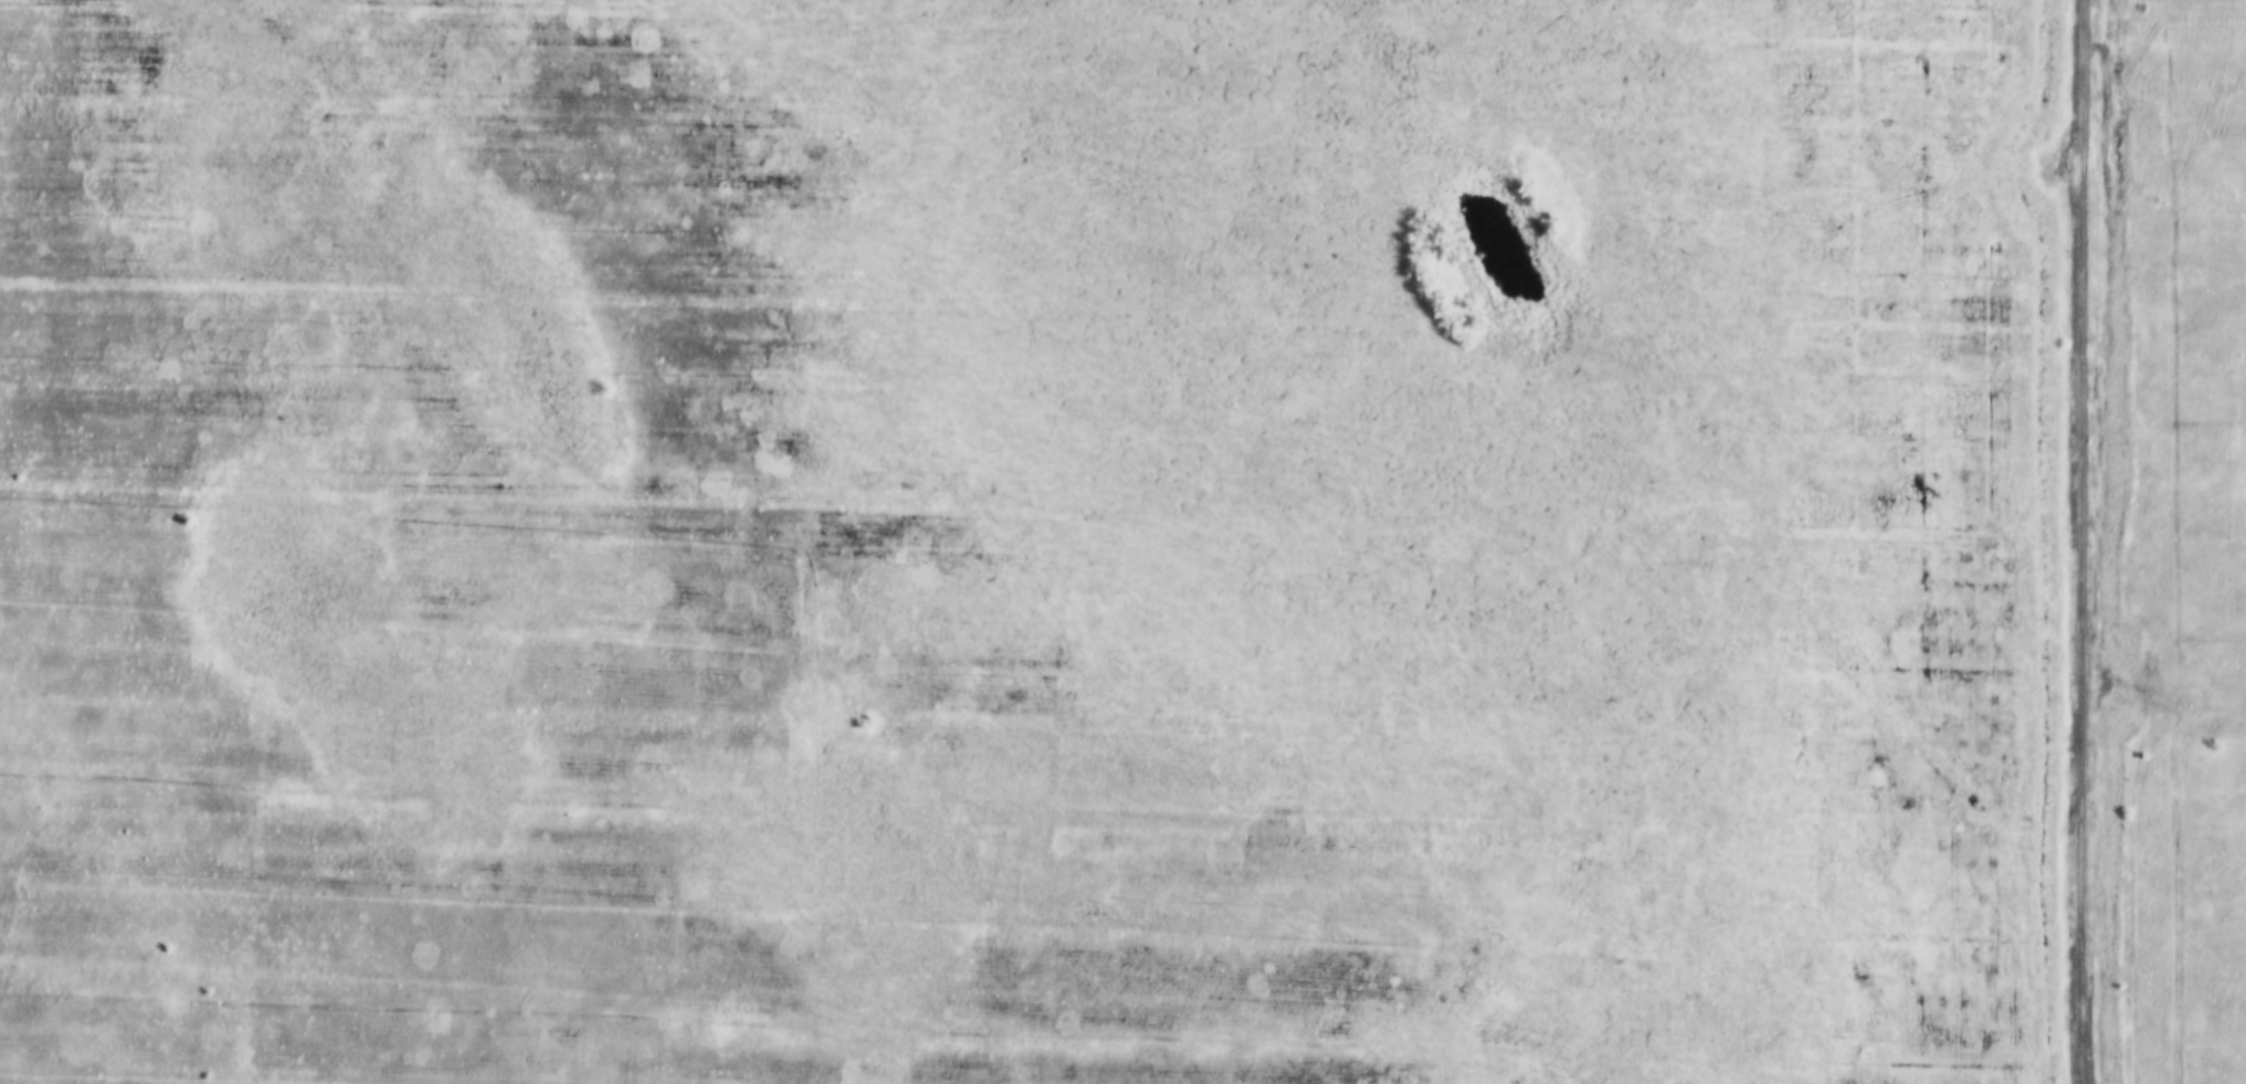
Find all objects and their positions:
airport: (1026, 541)
road: (2089, 541)

